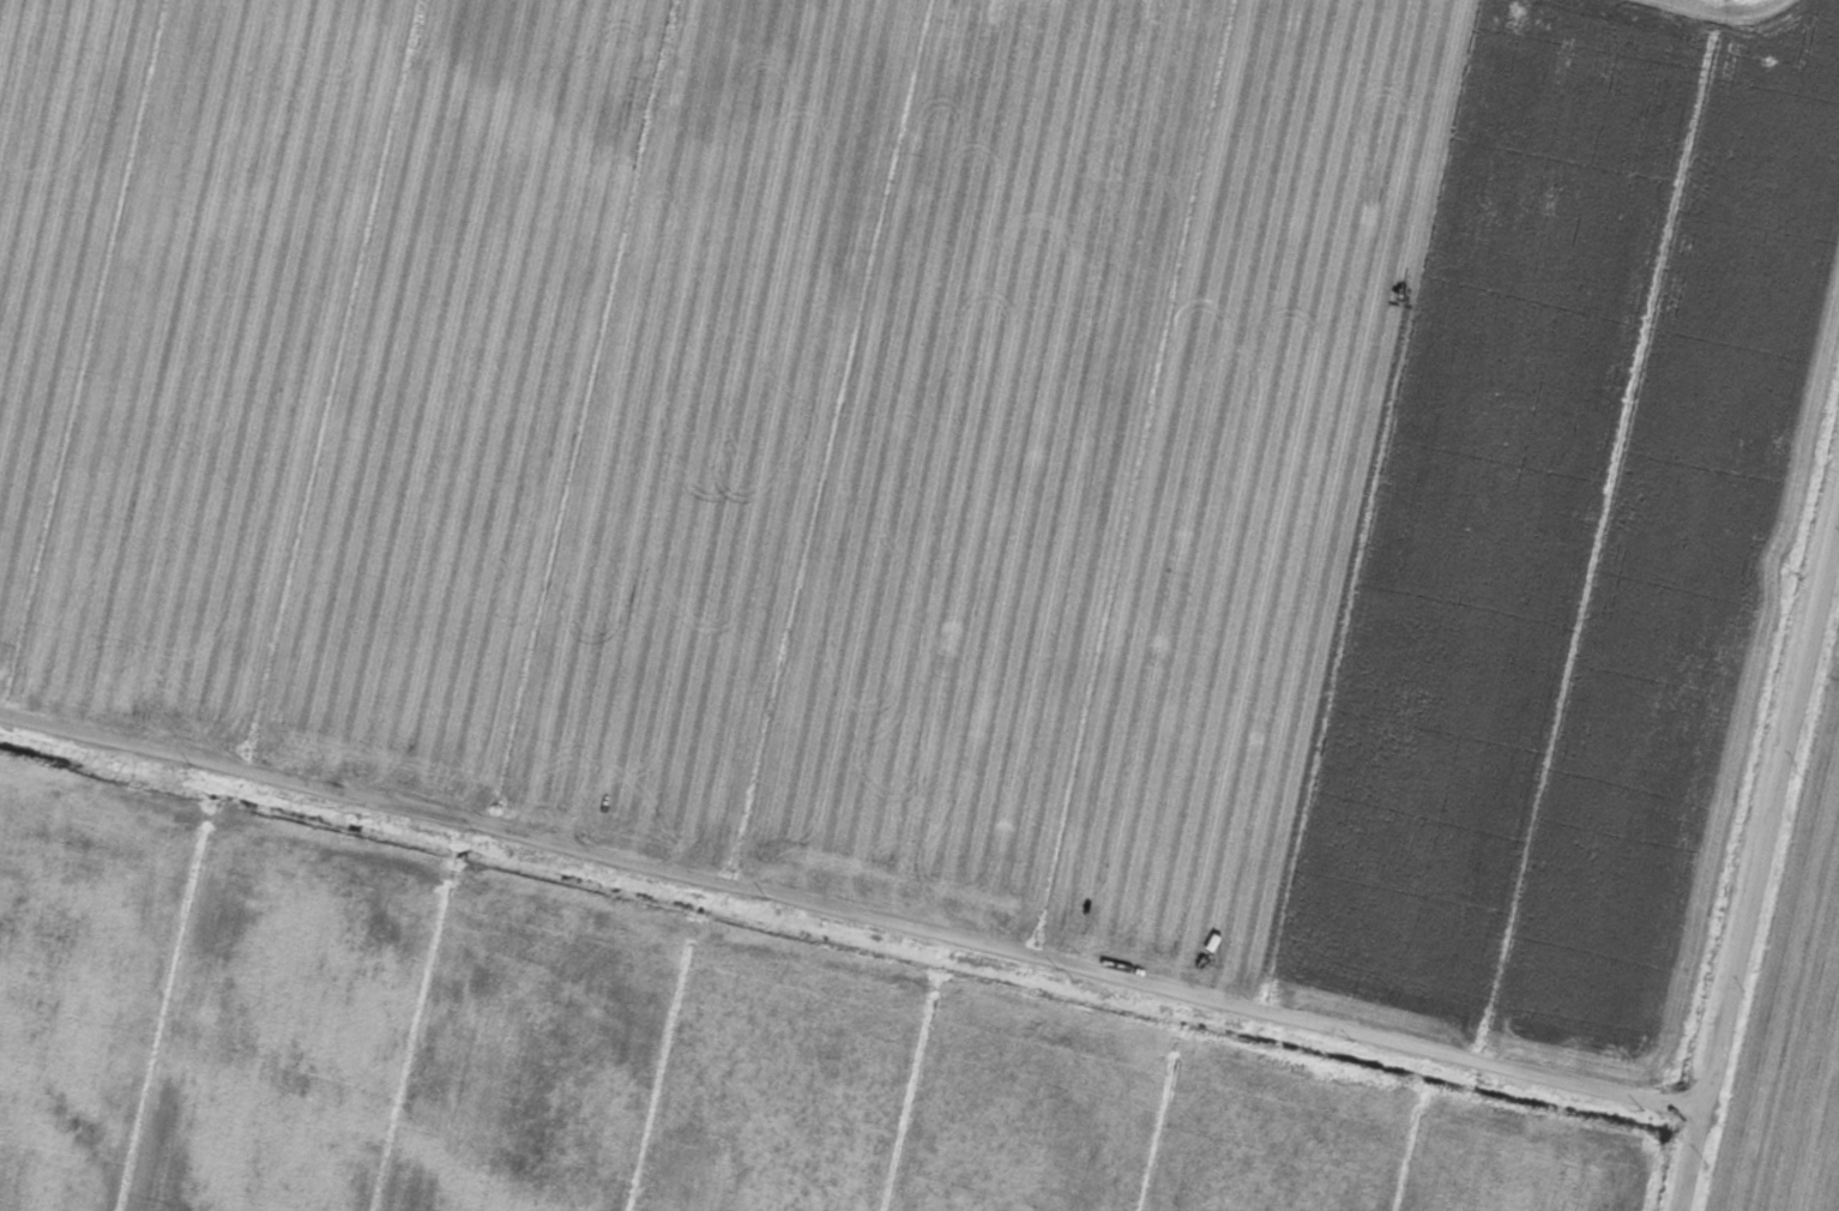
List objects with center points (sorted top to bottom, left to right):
road: (1757, 858)
road: (850, 906)

